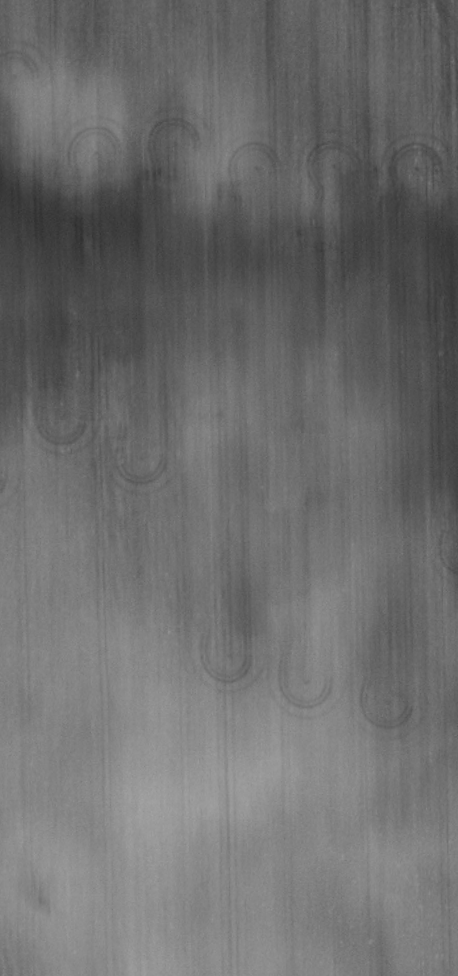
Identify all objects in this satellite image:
crop: (229, 488)

